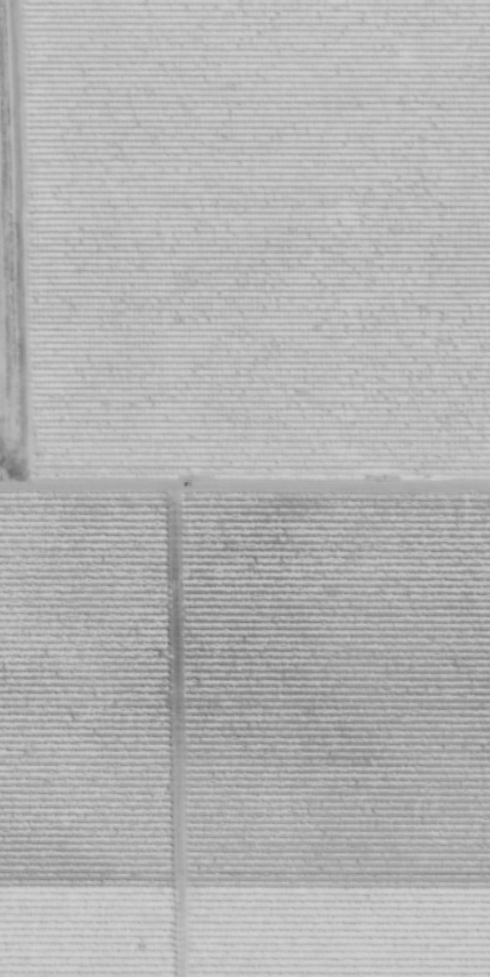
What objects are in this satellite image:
road: (245, 484)
crop: (245, 488)

